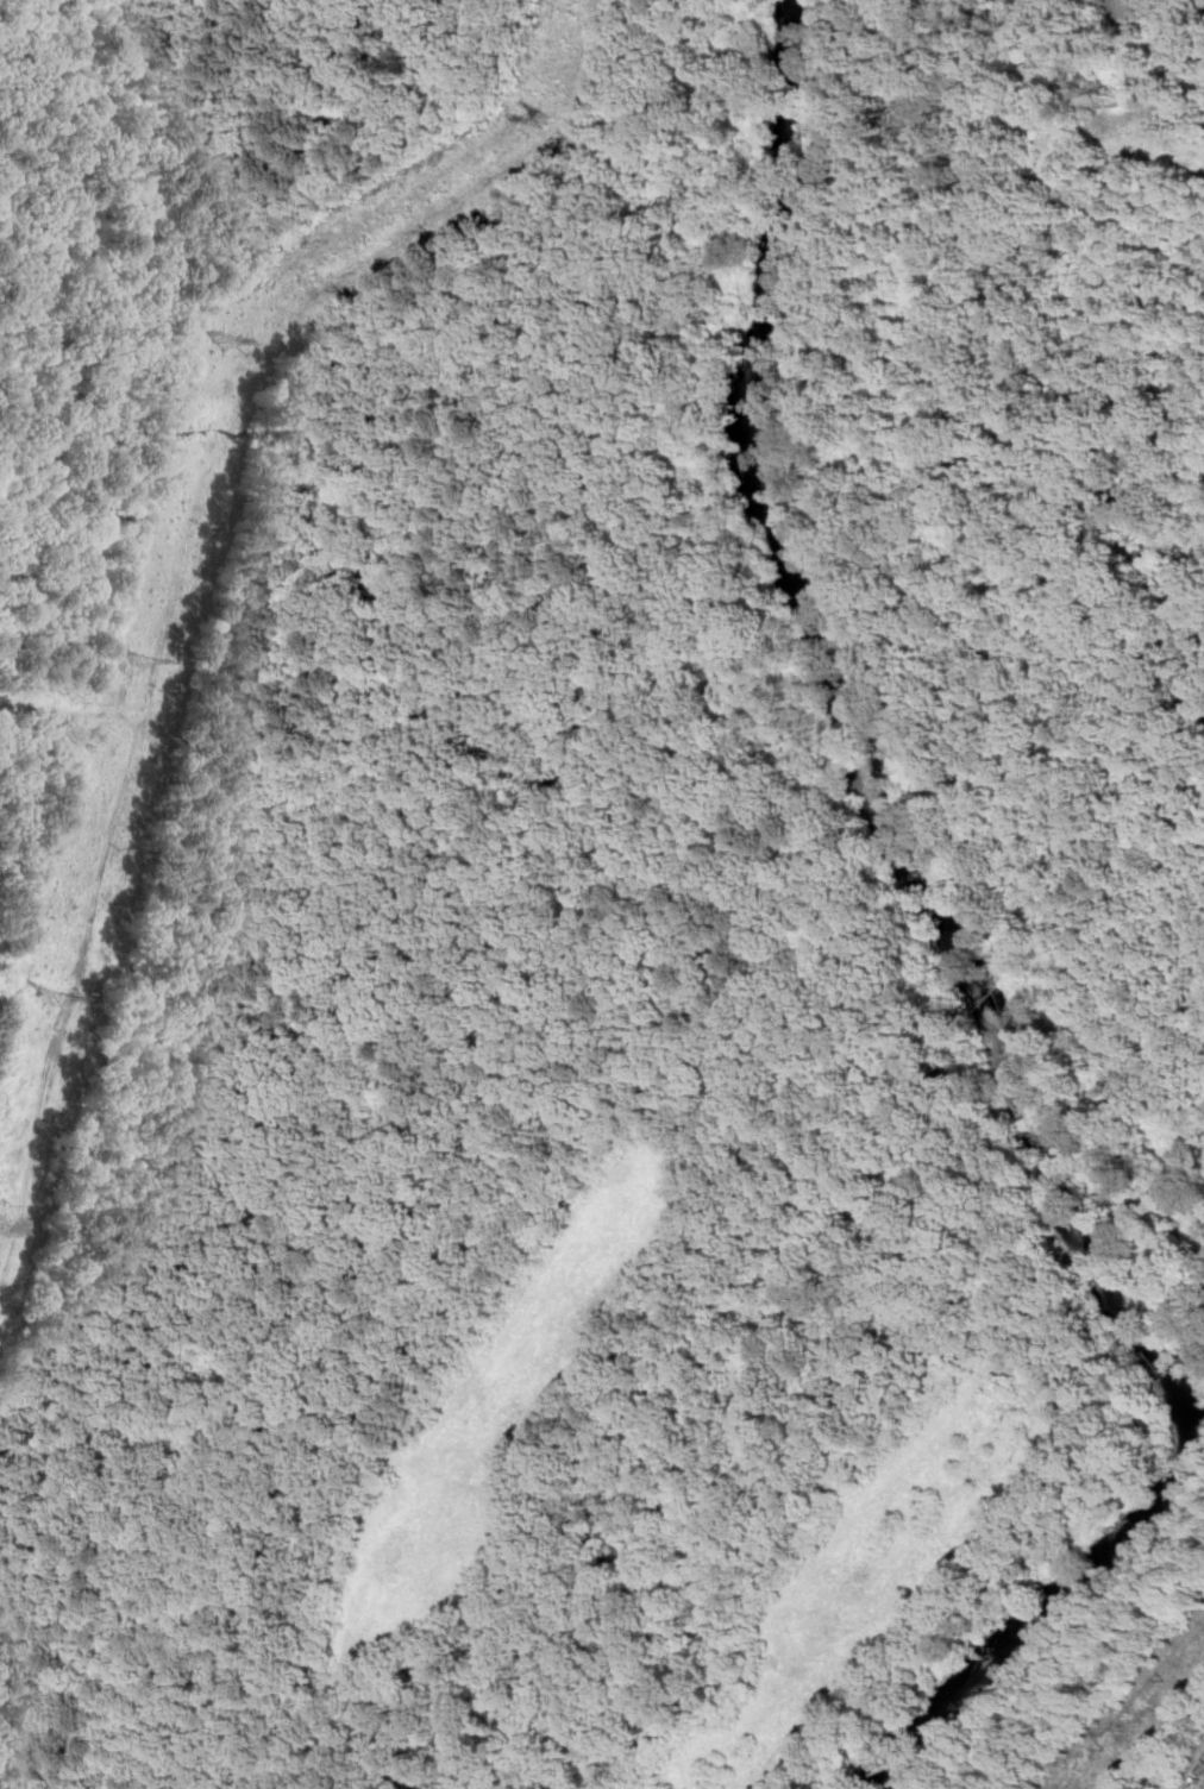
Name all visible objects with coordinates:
power tower: (552, 117)
power tower: (232, 345)
road: (173, 608)
power tower: (145, 664)
road: (86, 943)
river: (964, 967)
power tower: (54, 999)

